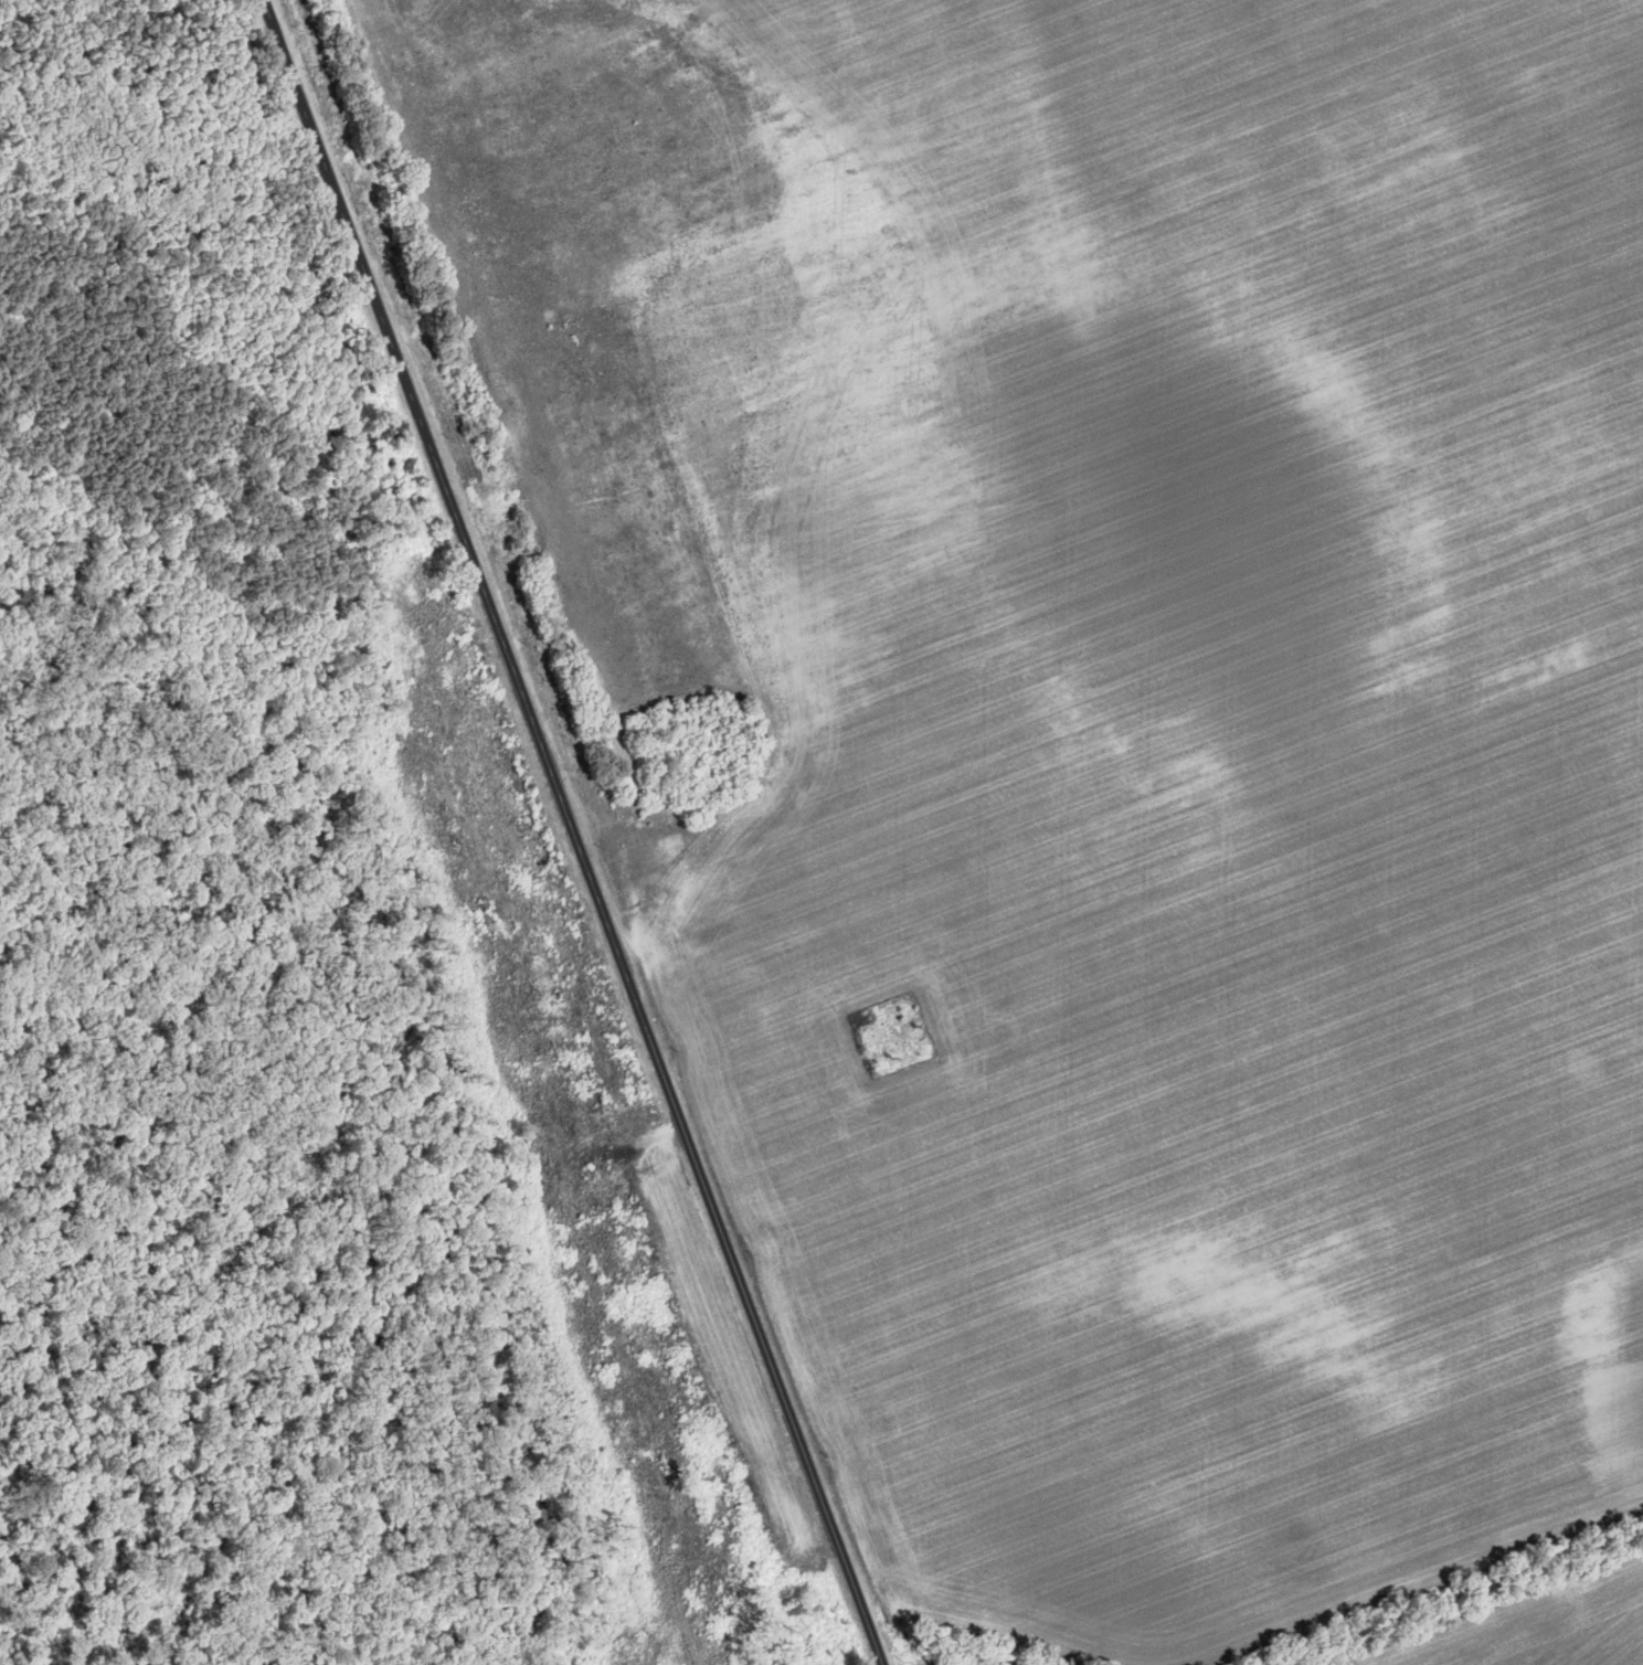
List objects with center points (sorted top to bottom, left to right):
road: (573, 832)
park: (893, 1035)

